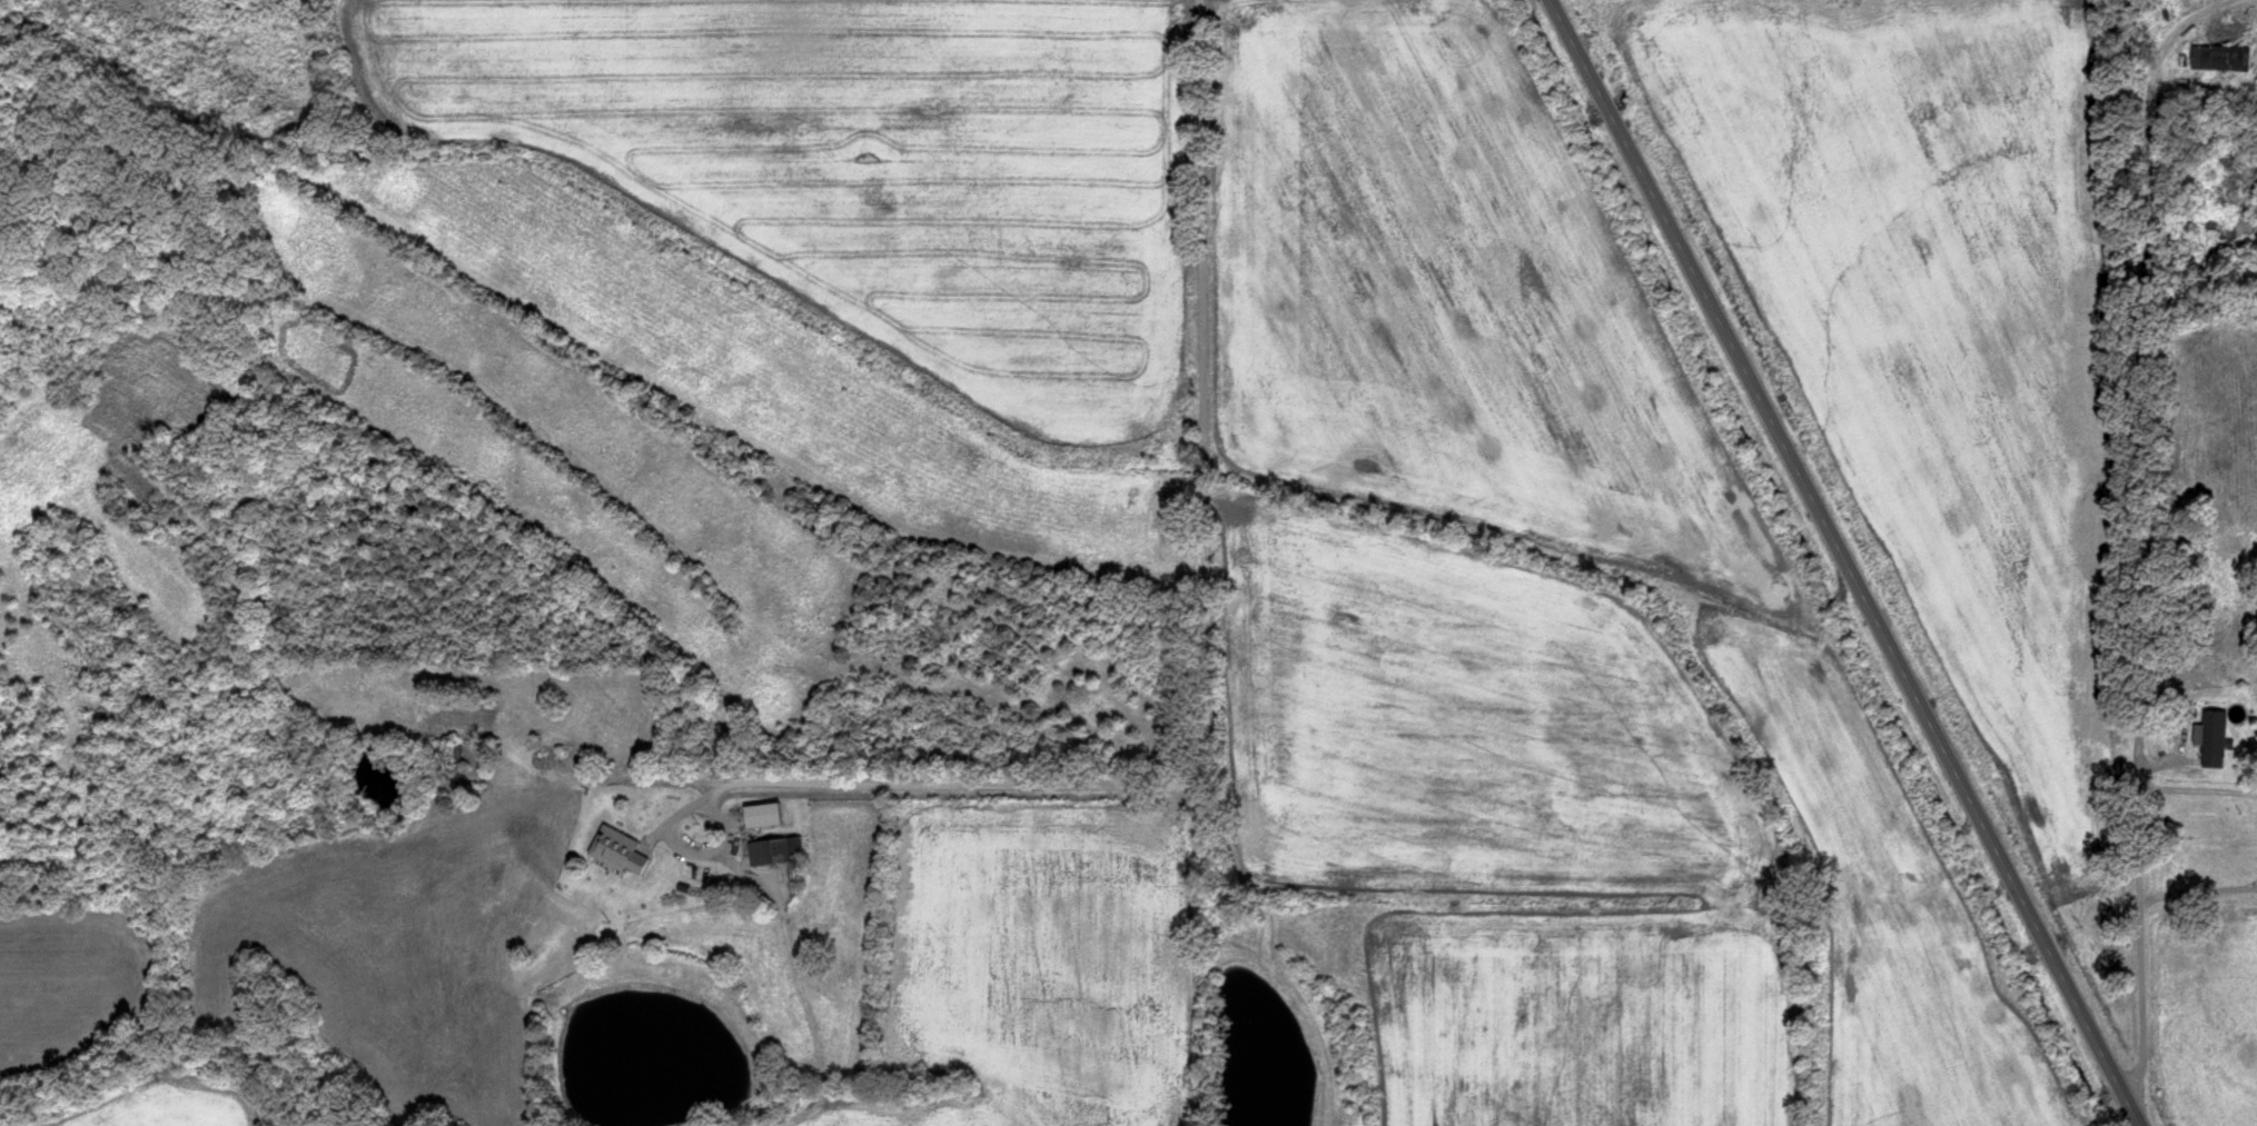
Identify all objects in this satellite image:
building: (2243, 59)
road: (2135, 534)
road: (1842, 562)
road: (1196, 696)
building: (2214, 738)
building: (765, 816)
building: (620, 850)
building: (778, 850)

